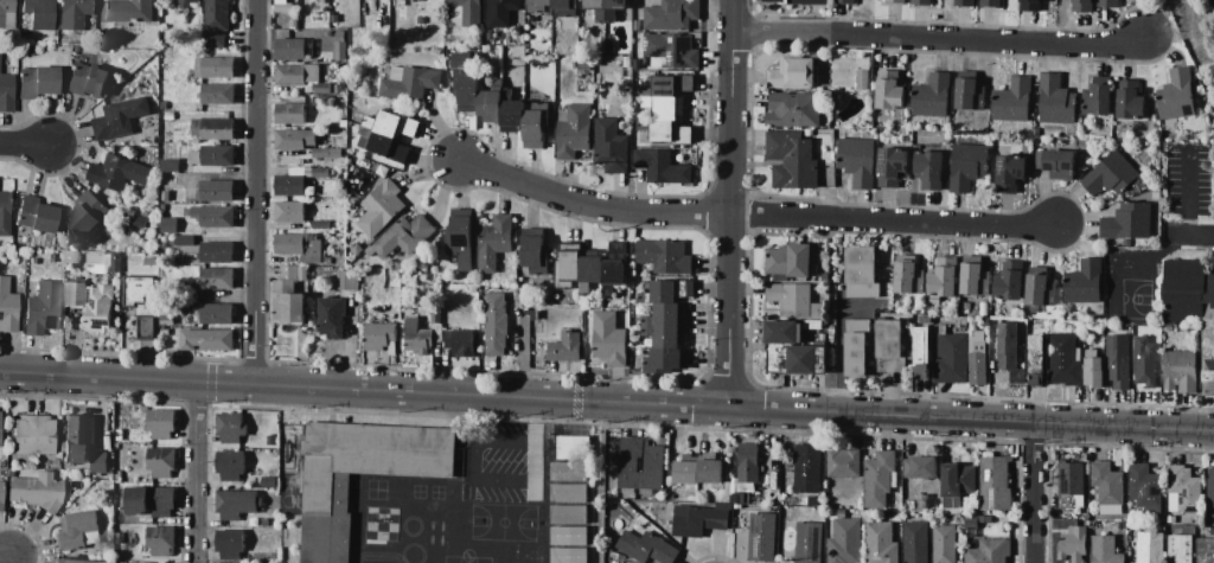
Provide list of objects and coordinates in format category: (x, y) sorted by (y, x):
building: (800, 1)
building: (845, 1)
building: (895, 1)
building: (921, 2)
building: (965, 2)
building: (991, 2)
building: (185, 4)
building: (1108, 4)
building: (1030, 5)
building: (283, 6)
building: (336, 6)
building: (541, 6)
building: (1082, 6)
building: (566, 7)
building: (598, 8)
building: (614, 8)
building: (5, 9)
building: (124, 11)
building: (398, 12)
building: (500, 12)
building: (39, 13)
building: (74, 13)
building: (465, 13)
building: (672, 14)
building: (420, 19)
building: (217, 21)
building: (294, 24)
building: (637, 25)
road: (940, 40)
building: (290, 49)
building: (334, 50)
building: (671, 51)
building: (817, 56)
building: (627, 62)
building: (571, 65)
building: (583, 65)
building: (325, 66)
building: (217, 68)
building: (298, 73)
building: (793, 73)
building: (864, 73)
building: (88, 81)
building: (37, 82)
building: (466, 82)
building: (410, 83)
building: (669, 85)
building: (321, 88)
building: (338, 88)
building: (890, 91)
building: (6, 92)
building: (217, 94)
building: (971, 95)
building: (933, 96)
building: (1098, 98)
building: (1176, 98)
building: (1014, 100)
building: (1056, 100)
building: (1130, 100)
building: (322, 101)
building: (491, 102)
building: (164, 105)
building: (662, 107)
building: (793, 109)
building: (292, 114)
building: (167, 116)
building: (181, 116)
building: (512, 116)
building: (120, 117)
building: (392, 124)
building: (213, 129)
building: (533, 129)
building: (574, 130)
building: (667, 130)
building: (295, 139)
road: (24, 145)
building: (383, 146)
building: (611, 146)
building: (321, 153)
building: (213, 155)
building: (792, 159)
building: (858, 161)
building: (1056, 164)
building: (969, 165)
building: (170, 166)
building: (662, 166)
building: (893, 166)
building: (929, 168)
building: (117, 173)
building: (321, 173)
building: (1010, 173)
building: (1111, 174)
building: (290, 186)
building: (216, 191)
road: (256, 192)
building: (165, 196)
road: (589, 201)
road: (729, 201)
building: (381, 209)
building: (186, 211)
building: (289, 211)
building: (5, 213)
building: (88, 213)
building: (36, 215)
building: (213, 216)
road: (892, 218)
building: (140, 222)
building: (1127, 222)
building: (175, 225)
building: (321, 225)
road: (1202, 230)
road: (1170, 235)
building: (404, 236)
building: (461, 238)
building: (184, 241)
building: (494, 242)
building: (4, 245)
building: (300, 247)
building: (535, 251)
building: (217, 252)
building: (665, 256)
building: (71, 257)
building: (790, 261)
building: (103, 262)
building: (615, 264)
building: (569, 267)
building: (590, 270)
building: (862, 273)
building: (909, 275)
building: (825, 276)
building: (944, 277)
building: (975, 277)
building: (216, 279)
building: (353, 281)
building: (1084, 282)
building: (1009, 284)
building: (1209, 288)
building: (1183, 289)
building: (1041, 290)
building: (667, 292)
building: (75, 293)
building: (289, 295)
building: (796, 300)
building: (142, 303)
building: (184, 305)
building: (7, 307)
building: (41, 308)
building: (100, 308)
building: (215, 313)
building: (447, 313)
building: (986, 313)
building: (436, 315)
building: (535, 315)
building: (331, 316)
building: (166, 319)
building: (924, 319)
building: (964, 322)
building: (496, 324)
building: (812, 325)
building: (664, 326)
building: (1158, 330)
building: (164, 332)
building: (379, 335)
building: (418, 337)
building: (609, 338)
building: (207, 340)
building: (460, 343)
road: (842, 343)
building: (890, 346)
building: (1008, 346)
building: (567, 347)
building: (857, 347)
building: (792, 350)
building: (1208, 350)
building: (922, 351)
building: (909, 356)
building: (950, 357)
building: (1036, 358)
building: (1065, 359)
building: (667, 360)
building: (1118, 360)
building: (977, 363)
building: (1144, 363)
building: (1094, 370)
building: (1181, 371)
building: (1017, 376)
road: (607, 402)
building: (161, 423)
building: (231, 427)
building: (23, 435)
building: (43, 435)
building: (119, 435)
building: (79, 440)
road: (537, 448)
building: (574, 448)
building: (1085, 458)
building: (161, 461)
building: (98, 462)
building: (748, 462)
building: (844, 462)
building: (231, 465)
building: (654, 465)
building: (920, 466)
building: (710, 468)
building: (807, 468)
building: (686, 469)
road: (196, 472)
building: (569, 472)
building: (9, 473)
building: (88, 473)
building: (880, 478)
building: (269, 481)
road: (605, 482)
building: (995, 482)
building: (957, 485)
building: (1071, 485)
building: (1209, 486)
building: (743, 487)
building: (1108, 487)
building: (1145, 487)
building: (1183, 490)
building: (37, 491)
building: (1, 492)
building: (326, 492)
road: (1039, 492)
building: (569, 493)
building: (671, 497)
building: (740, 498)
building: (151, 500)
building: (924, 500)
building: (237, 503)
building: (724, 506)
building: (737, 506)
building: (1054, 513)
building: (569, 514)
building: (788, 518)
building: (985, 519)
building: (698, 520)
building: (970, 522)
building: (1123, 525)
building: (77, 530)
building: (569, 536)
building: (762, 537)
building: (161, 539)
building: (845, 540)
building: (809, 542)
building: (916, 542)
building: (882, 543)
building: (230, 544)
building: (945, 544)
building: (1073, 544)
building: (1150, 546)
building: (646, 548)
building: (1105, 549)
building: (1180, 549)
building: (1206, 550)
building: (989, 551)
building: (569, 555)
road: (5, 557)
building: (77, 561)
building: (1130, 562)

